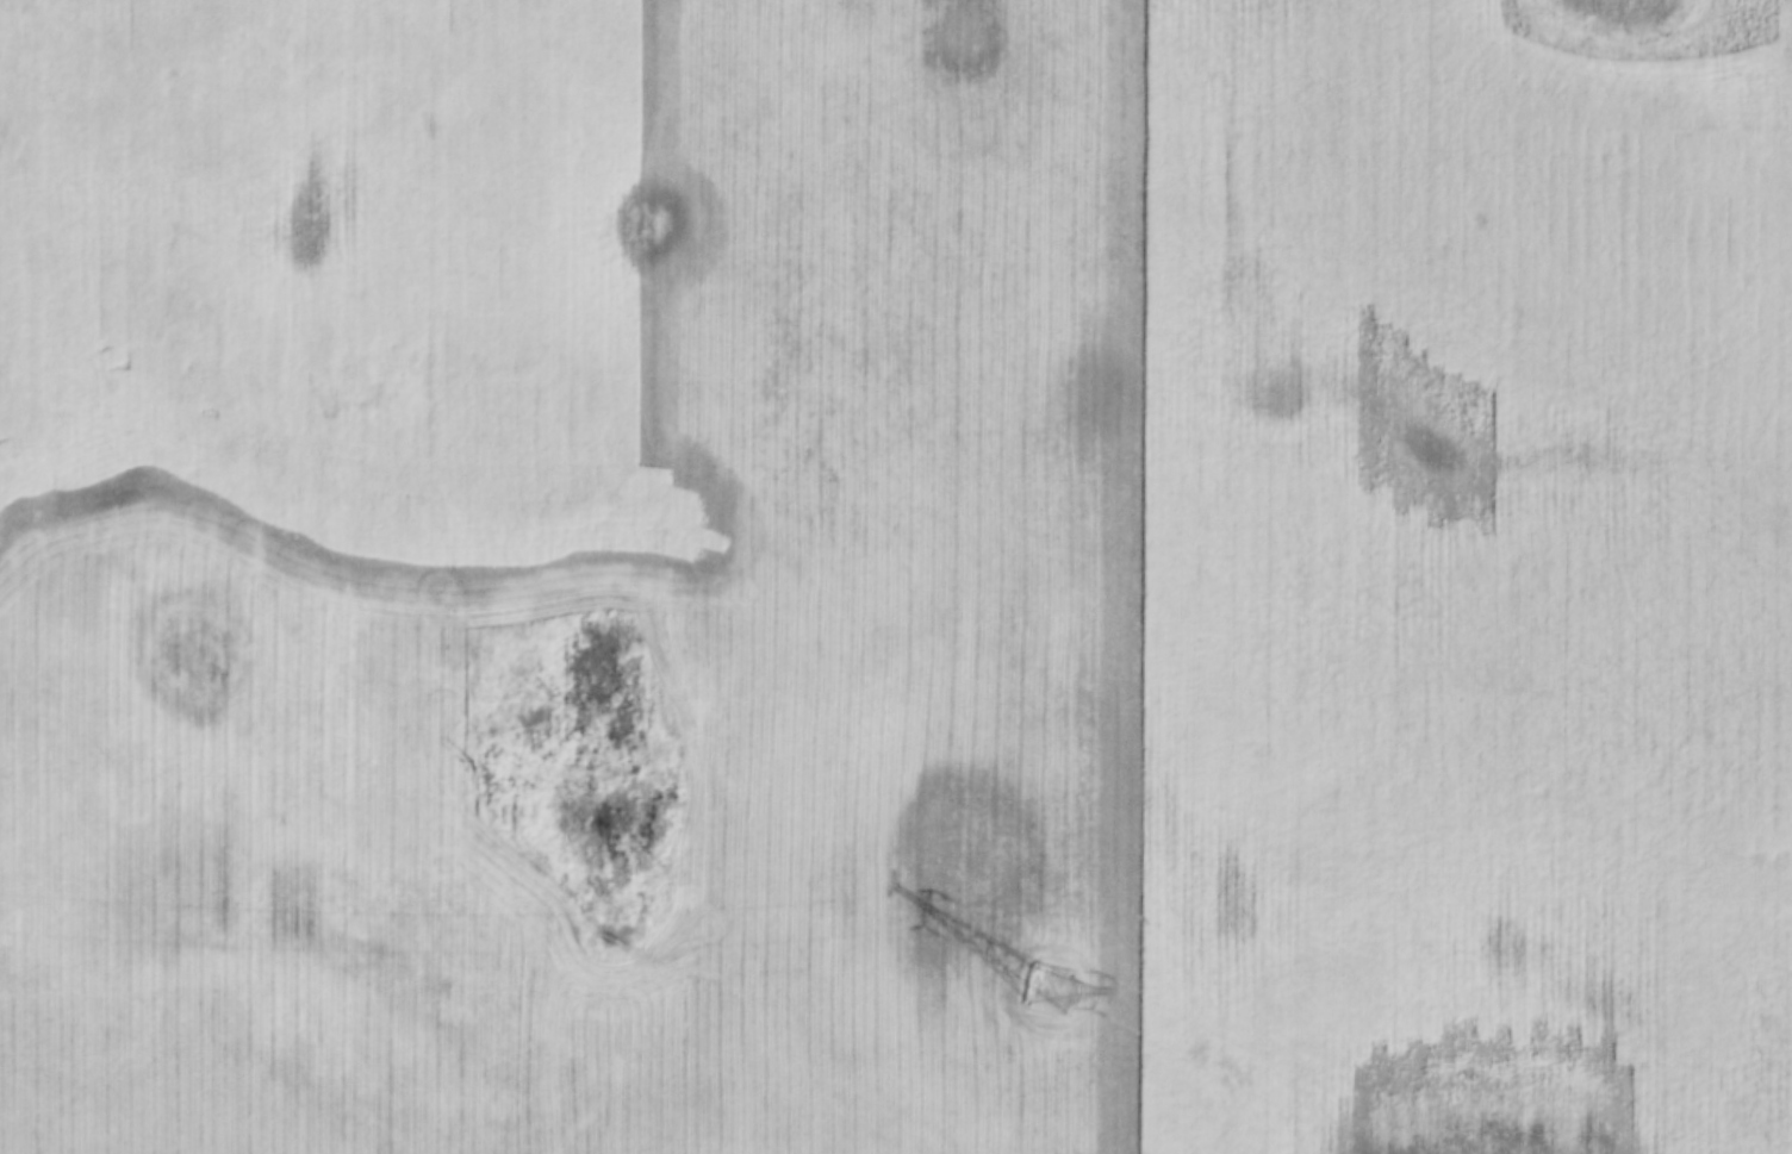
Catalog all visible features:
power tower: (1043, 986)

